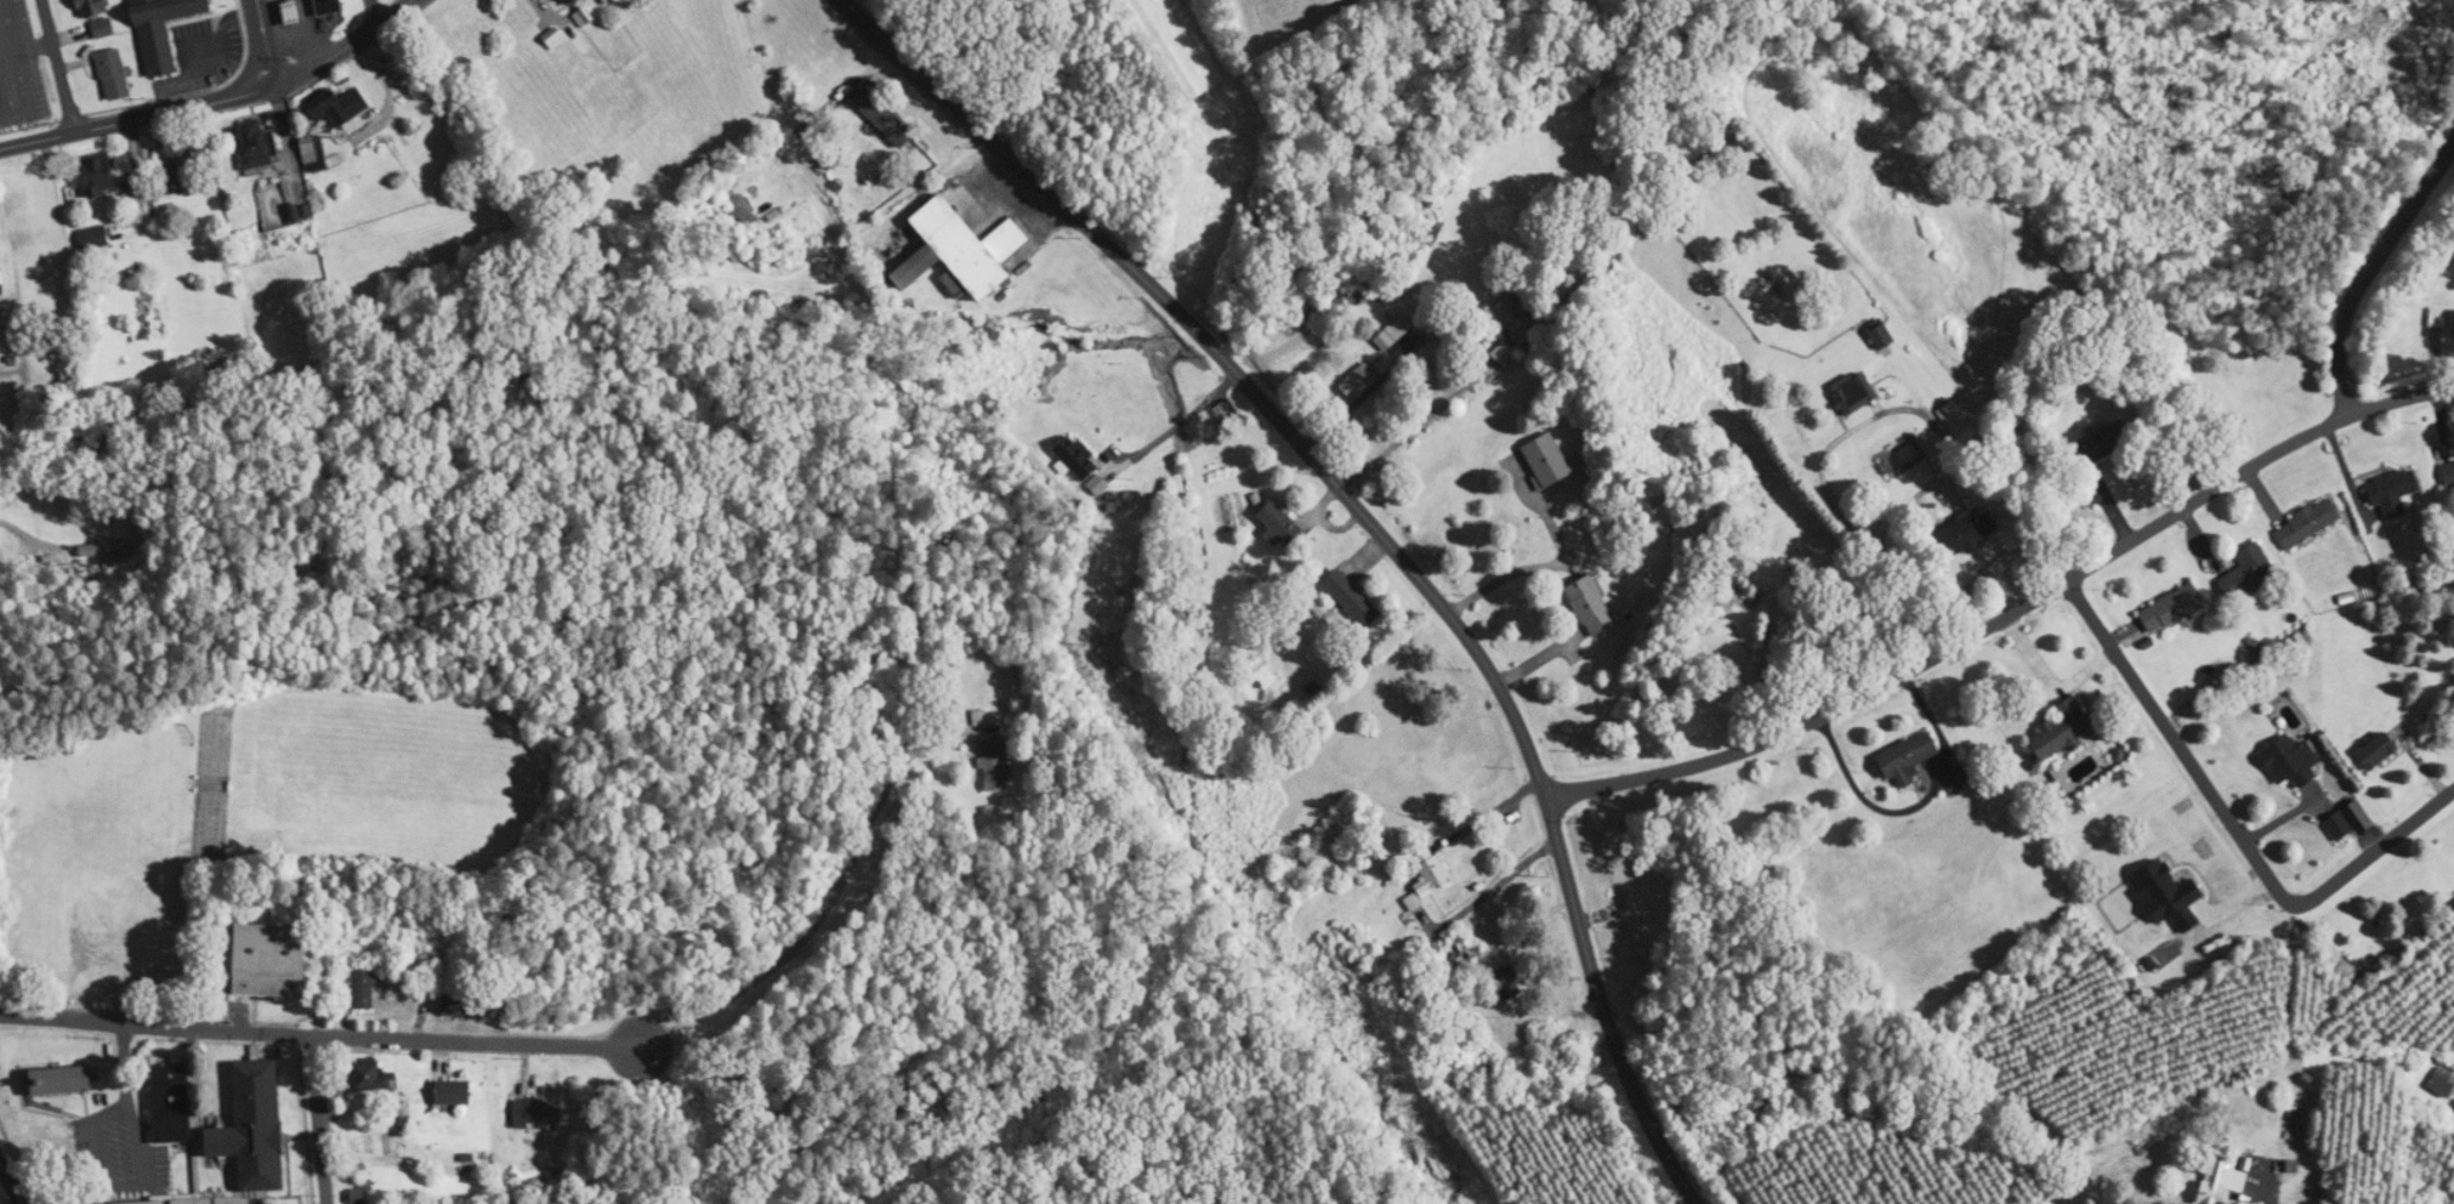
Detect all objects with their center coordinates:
building: (570, 1)
building: (328, 5)
building: (90, 7)
gas station: (292, 11)
road: (375, 11)
building: (104, 29)
building: (160, 29)
road: (266, 41)
road: (346, 46)
parking lot: (203, 53)
road: (58, 64)
parking lot: (18, 66)
building: (114, 74)
road: (200, 90)
building: (329, 109)
road: (137, 115)
building: (884, 117)
building: (256, 143)
building: (313, 150)
building: (176, 158)
building: (97, 175)
road: (135, 175)
building: (93, 238)
building: (956, 250)
road: (2368, 271)
building: (1518, 319)
building: (1396, 334)
building: (1882, 336)
road: (1234, 368)
building: (1361, 381)
building: (1853, 393)
building: (1229, 414)
road: (1177, 422)
road: (1414, 426)
building: (1077, 459)
building: (1551, 461)
building: (2448, 470)
building: (2392, 492)
building: (1282, 522)
building: (2307, 523)
building: (1965, 532)
building: (1, 562)
building: (2248, 572)
building: (1732, 595)
building: (1353, 600)
building: (1592, 606)
building: (2171, 609)
road: (2009, 613)
building: (1265, 683)
building: (983, 719)
road: (910, 727)
building: (2058, 732)
road: (2177, 744)
building: (2374, 751)
building: (1908, 760)
building: (2285, 762)
building: (998, 766)
building: (2337, 825)
road: (2375, 848)
building: (1432, 876)
building: (1460, 955)
building: (268, 960)
building: (364, 989)
building: (460, 1006)
road: (1602, 1007)
road: (147, 1023)
road: (637, 1038)
building: (373, 1077)
building: (59, 1079)
building: (2442, 1081)
building: (453, 1092)
building: (171, 1103)
building: (539, 1111)
road: (302, 1119)
building: (249, 1135)
road: (125, 1165)
building: (2221, 1181)
road: (11, 1183)
building: (363, 1192)
road: (10, 1199)
road: (2265, 1200)
building: (143, 1202)

